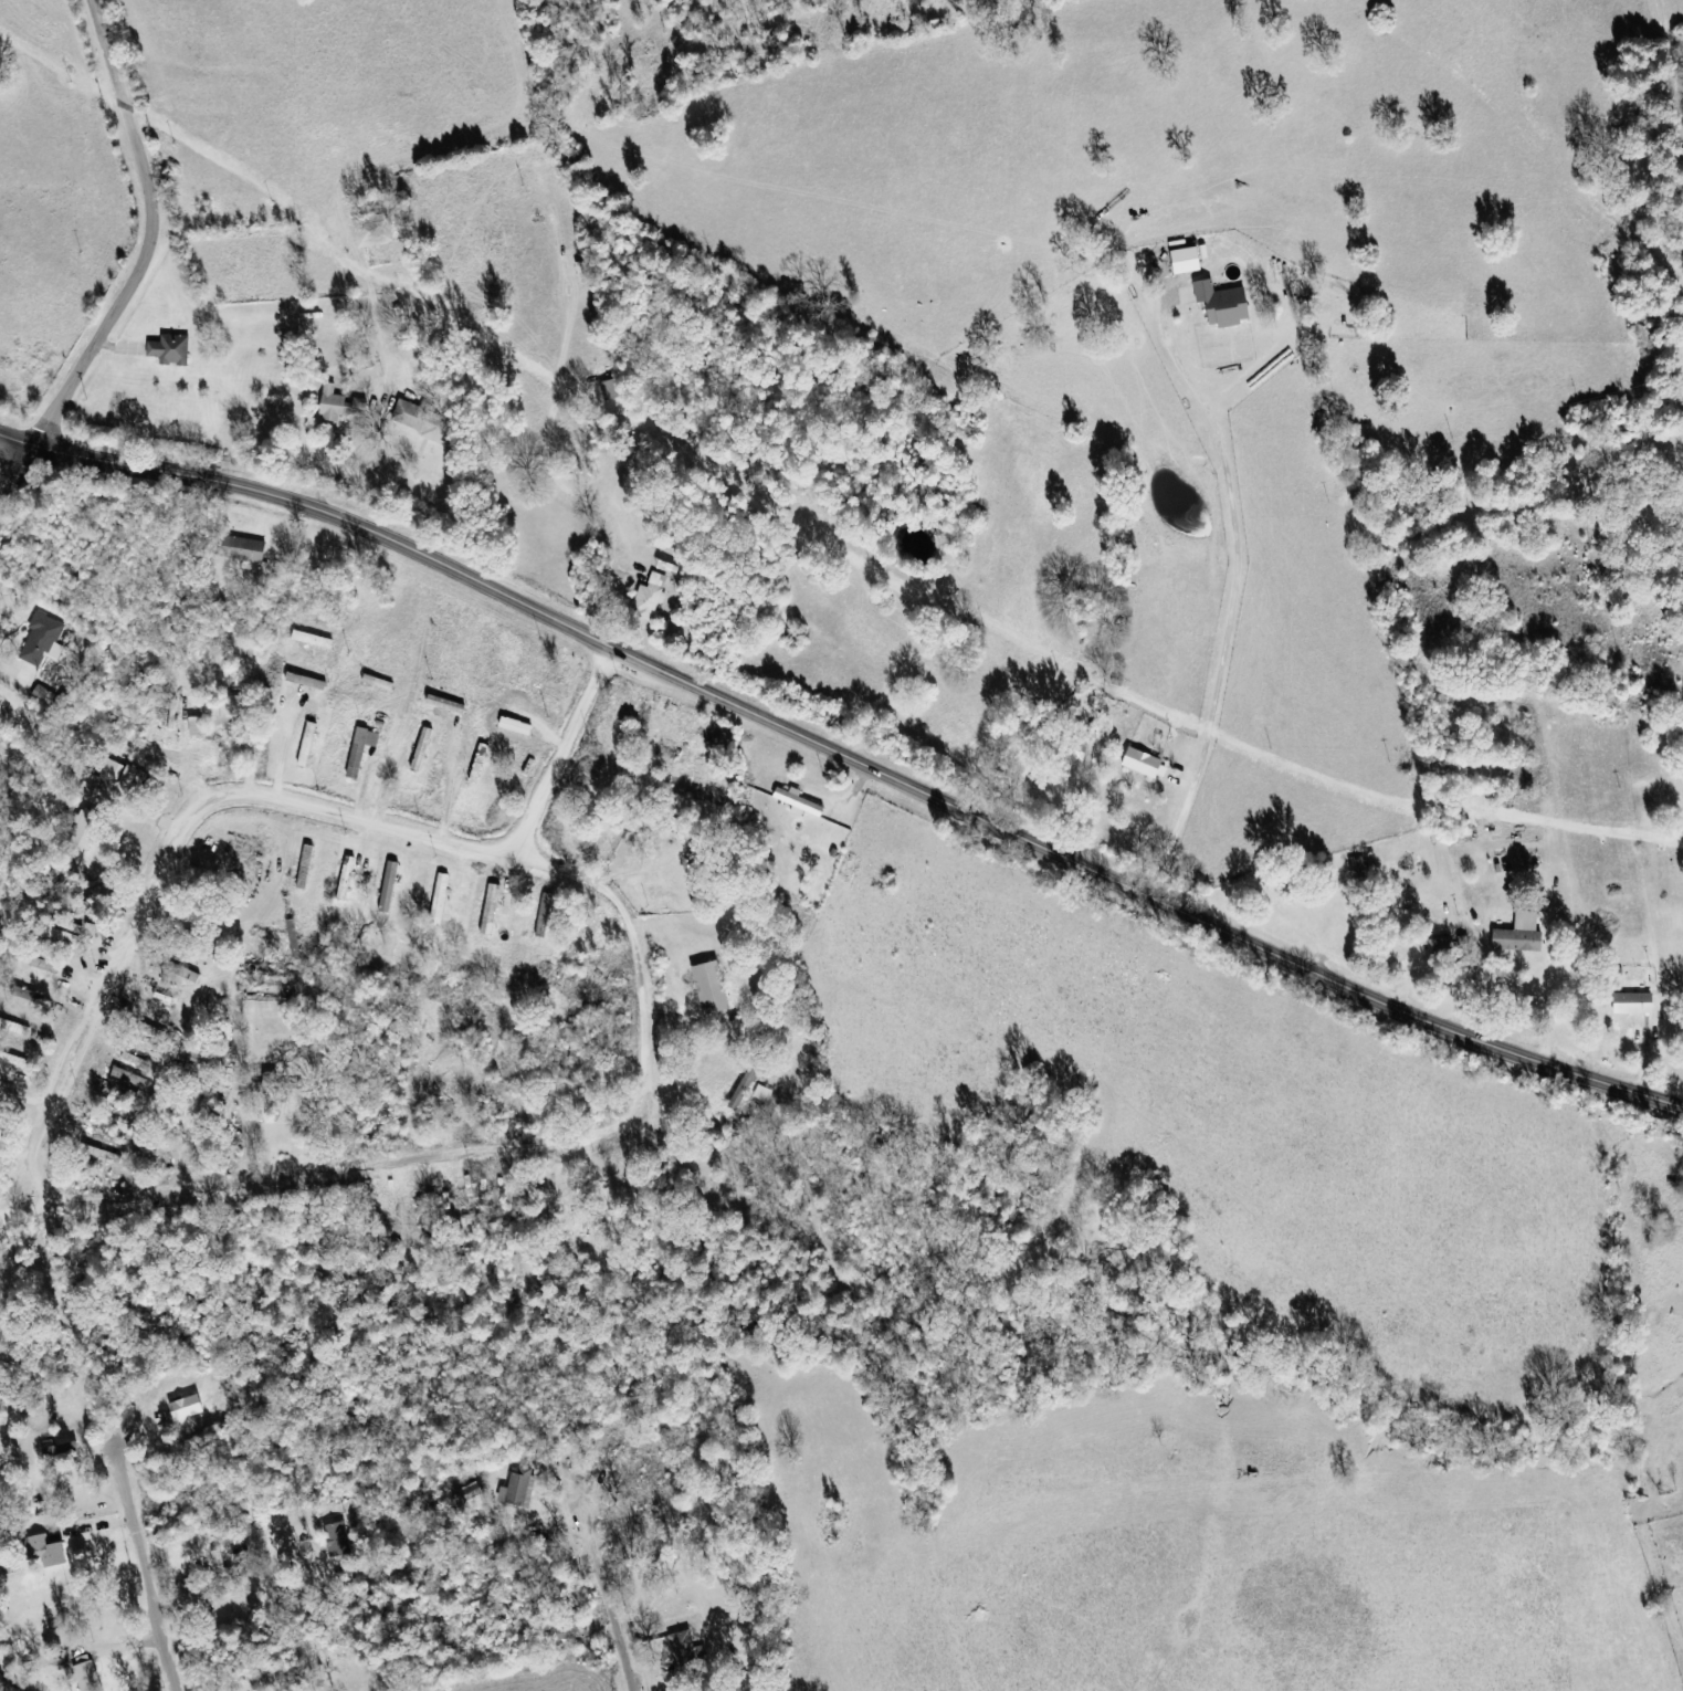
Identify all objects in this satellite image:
building: (375, 230)
road: (155, 240)
building: (1192, 260)
building: (586, 270)
building: (1227, 304)
building: (171, 349)
building: (614, 389)
building: (345, 405)
building: (425, 421)
road: (345, 454)
road: (13, 475)
building: (245, 548)
building: (653, 597)
road: (1234, 600)
building: (44, 640)
building: (45, 696)
building: (1073, 749)
building: (362, 750)
road: (564, 752)
road: (844, 757)
building: (1145, 763)
building: (801, 802)
building: (88, 829)
building: (1360, 868)
building: (390, 887)
building: (493, 910)
building: (546, 915)
building: (1522, 935)
building: (297, 939)
building: (1443, 950)
building: (183, 971)
building: (714, 988)
building: (20, 991)
building: (1637, 1004)
building: (14, 1027)
building: (14, 1059)
building: (140, 1063)
building: (130, 1076)
building: (276, 1085)
building: (745, 1086)
building: (764, 1094)
building: (104, 1154)
road: (132, 1198)
building: (188, 1408)
building: (60, 1450)
building: (519, 1489)
building: (338, 1540)
building: (49, 1552)
building: (223, 1572)
building: (683, 1643)
building: (88, 1673)
road: (67, 1685)

